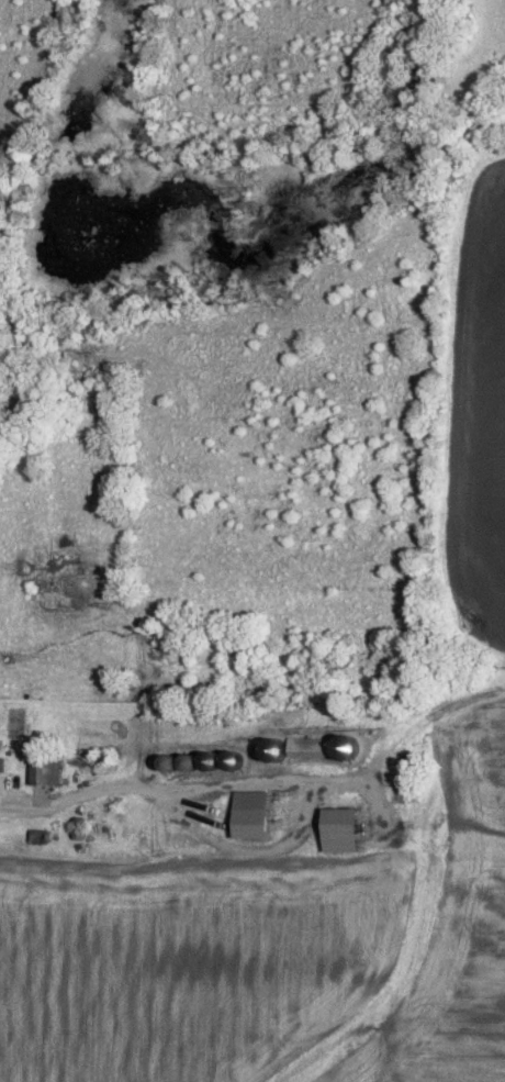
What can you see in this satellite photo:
building: (3, 761)
building: (47, 767)
road: (183, 793)
building: (255, 812)
building: (346, 827)

